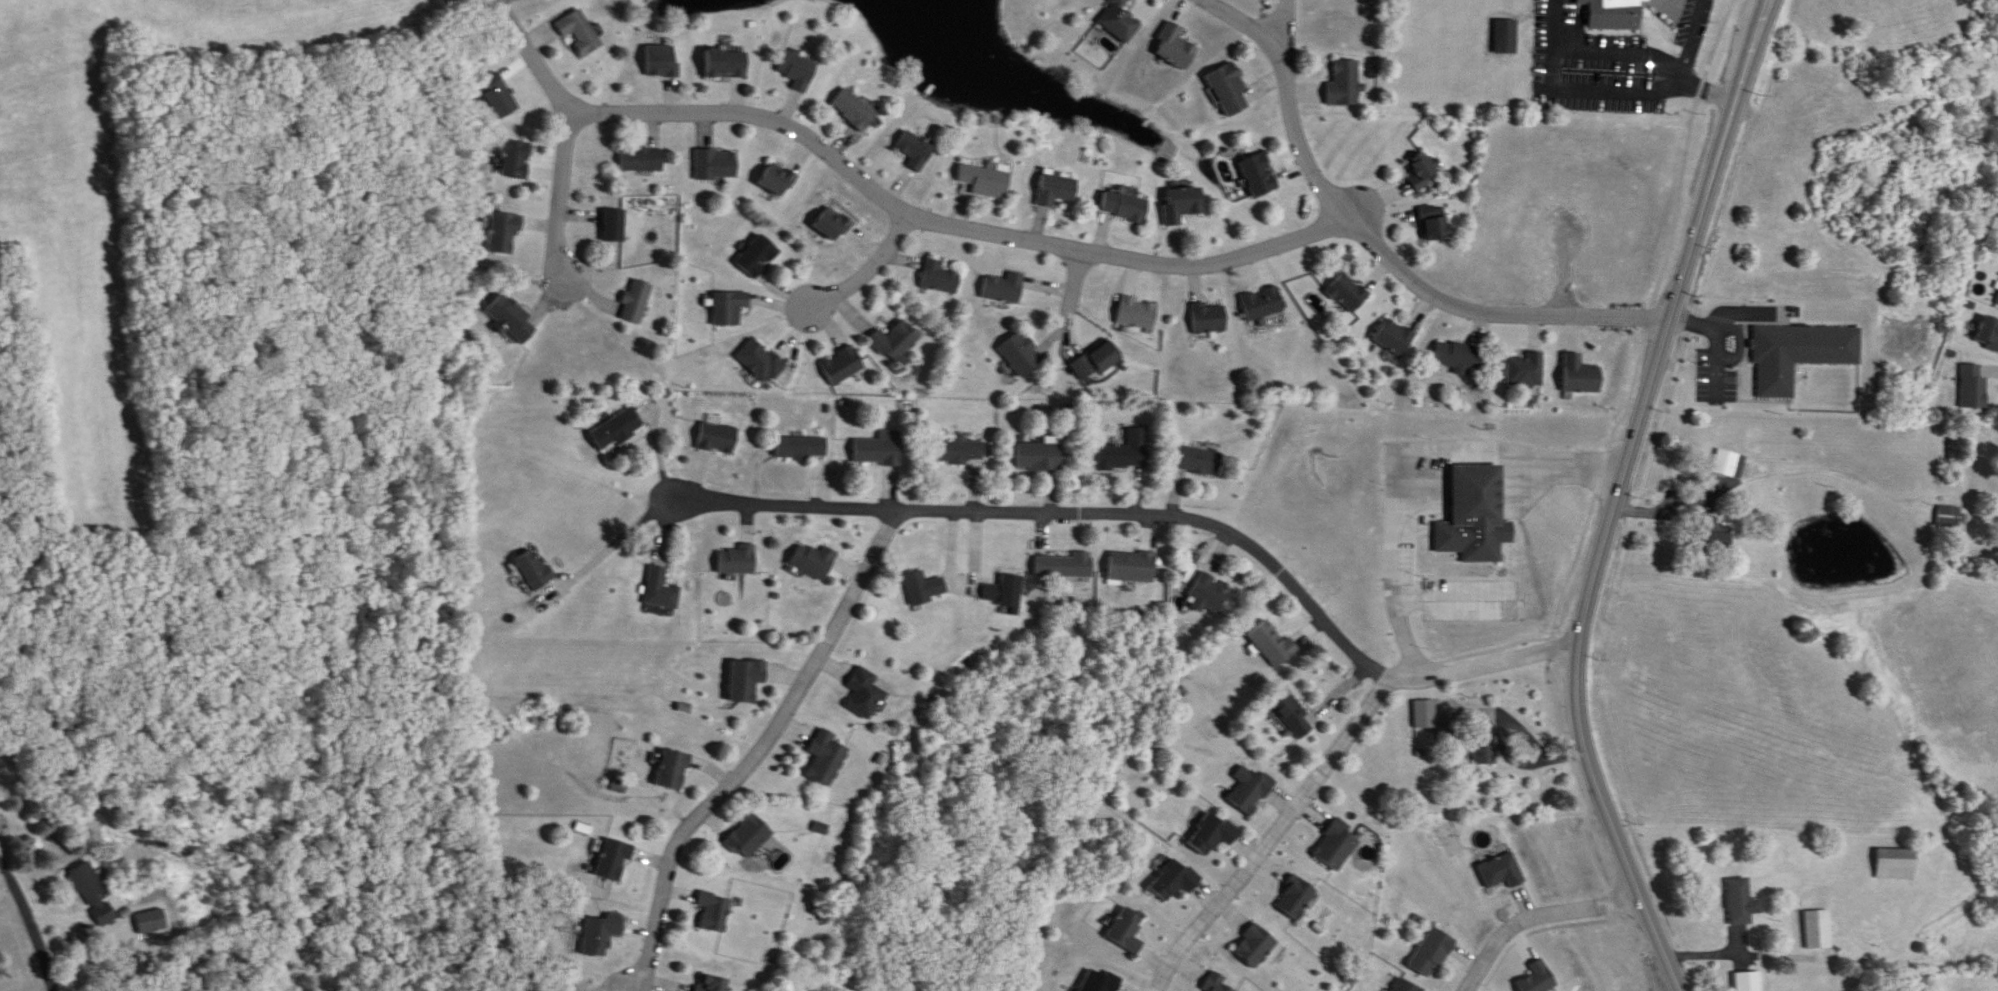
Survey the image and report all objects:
building: (1610, 11)
parking lot: (1693, 17)
road: (1279, 20)
building: (1119, 21)
building: (1502, 22)
building: (580, 33)
road: (1692, 33)
road: (1622, 36)
building: (1176, 47)
parking lot: (1596, 55)
building: (725, 64)
building: (797, 71)
road: (1582, 76)
road: (1710, 79)
building: (1345, 84)
building: (1230, 89)
building: (500, 96)
road: (1290, 99)
building: (854, 110)
road: (753, 118)
road: (566, 131)
building: (914, 151)
building: (516, 158)
building: (642, 159)
building: (716, 164)
building: (1424, 171)
building: (1259, 176)
building: (776, 179)
building: (986, 182)
building: (1057, 190)
building: (1183, 205)
building: (1125, 207)
building: (833, 223)
building: (615, 225)
building: (1437, 225)
building: (505, 233)
road: (1303, 239)
building: (757, 256)
road: (870, 271)
building: (939, 278)
road: (1565, 278)
building: (1004, 287)
building: (1347, 292)
building: (636, 300)
building: (1262, 303)
road: (1073, 305)
building: (729, 307)
building: (1138, 313)
building: (512, 318)
building: (1208, 318)
building: (1396, 337)
building: (897, 342)
road: (1714, 342)
building: (1021, 353)
building: (1460, 356)
building: (760, 361)
building: (1097, 361)
building: (843, 365)
building: (1526, 368)
building: (1581, 375)
building: (1975, 386)
building: (617, 429)
building: (718, 437)
building: (802, 448)
building: (880, 449)
building: (959, 450)
road: (1398, 450)
building: (1127, 451)
building: (1040, 455)
building: (1199, 460)
building: (1729, 464)
road: (1762, 470)
road: (1616, 495)
road: (1060, 510)
building: (1465, 511)
building: (1950, 516)
road: (1578, 533)
road: (609, 550)
building: (739, 559)
building: (816, 560)
building: (1067, 565)
building: (1134, 566)
building: (534, 570)
building: (926, 587)
building: (661, 588)
building: (1208, 593)
building: (1007, 594)
road: (1492, 635)
building: (1272, 643)
road: (1481, 660)
building: (747, 680)
building: (865, 693)
building: (1291, 713)
building: (1426, 714)
building: (1484, 749)
road: (759, 750)
building: (826, 758)
building: (673, 769)
building: (1252, 790)
road: (1273, 830)
building: (1215, 834)
building: (749, 837)
building: (1338, 845)
building: (614, 860)
building: (1897, 863)
building: (1174, 879)
building: (94, 895)
building: (1298, 897)
building: (1740, 902)
building: (715, 912)
road: (1535, 912)
road: (32, 926)
building: (1819, 929)
building: (1127, 930)
building: (1256, 946)
building: (1433, 952)
road: (1817, 959)
building: (1539, 978)
building: (1101, 981)
building: (1749, 981)
building: (712, 983)
building: (1217, 983)
building: (1406, 986)

